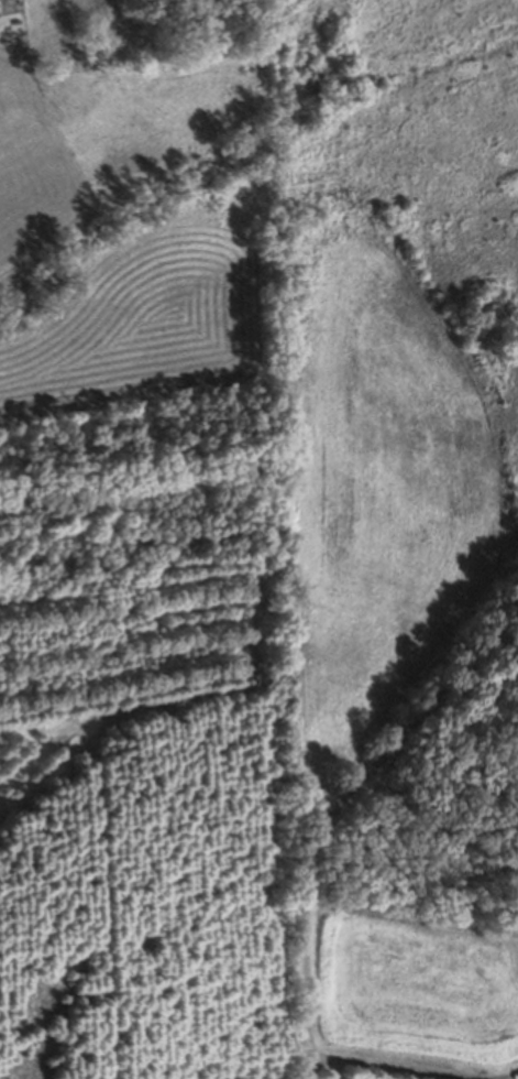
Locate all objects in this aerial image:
road: (339, 815)
road: (409, 1069)

